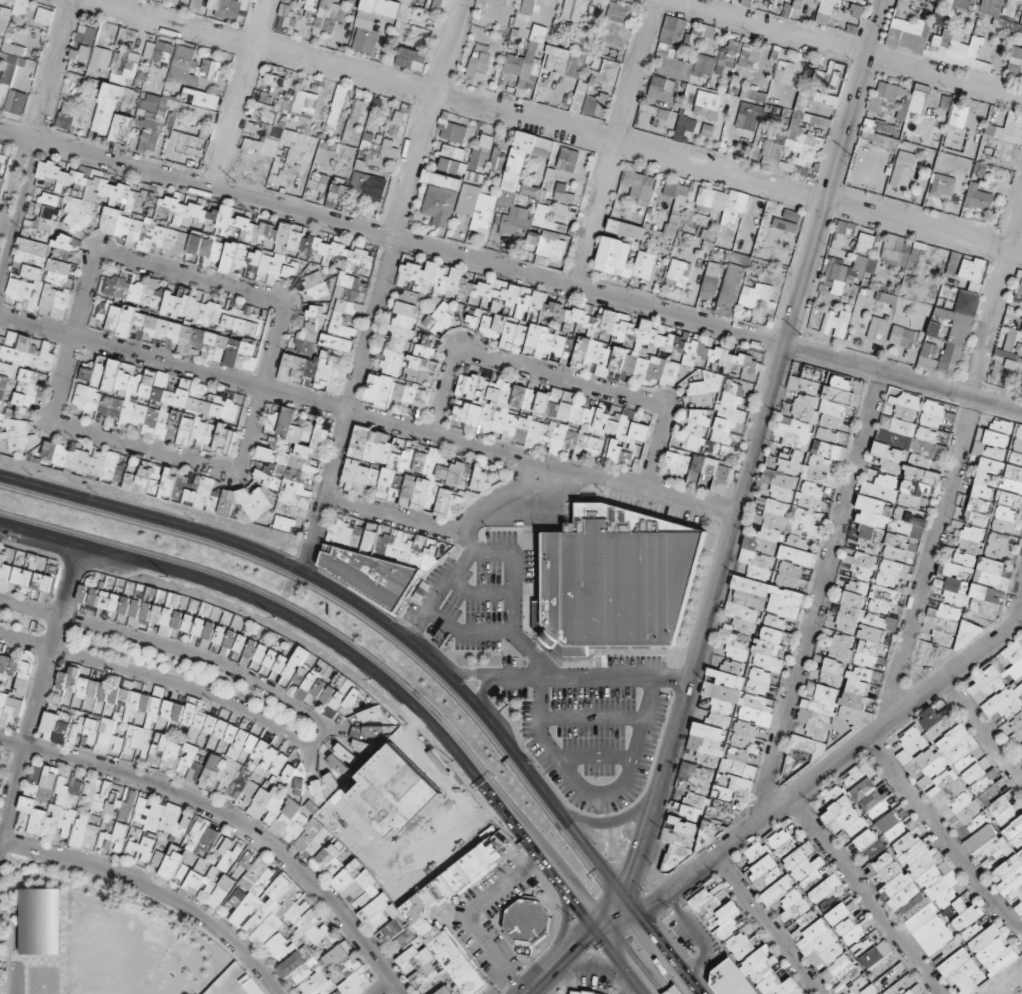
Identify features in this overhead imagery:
park: (22, 620)
park: (189, 675)
parking lot: (552, 686)
park: (90, 938)

